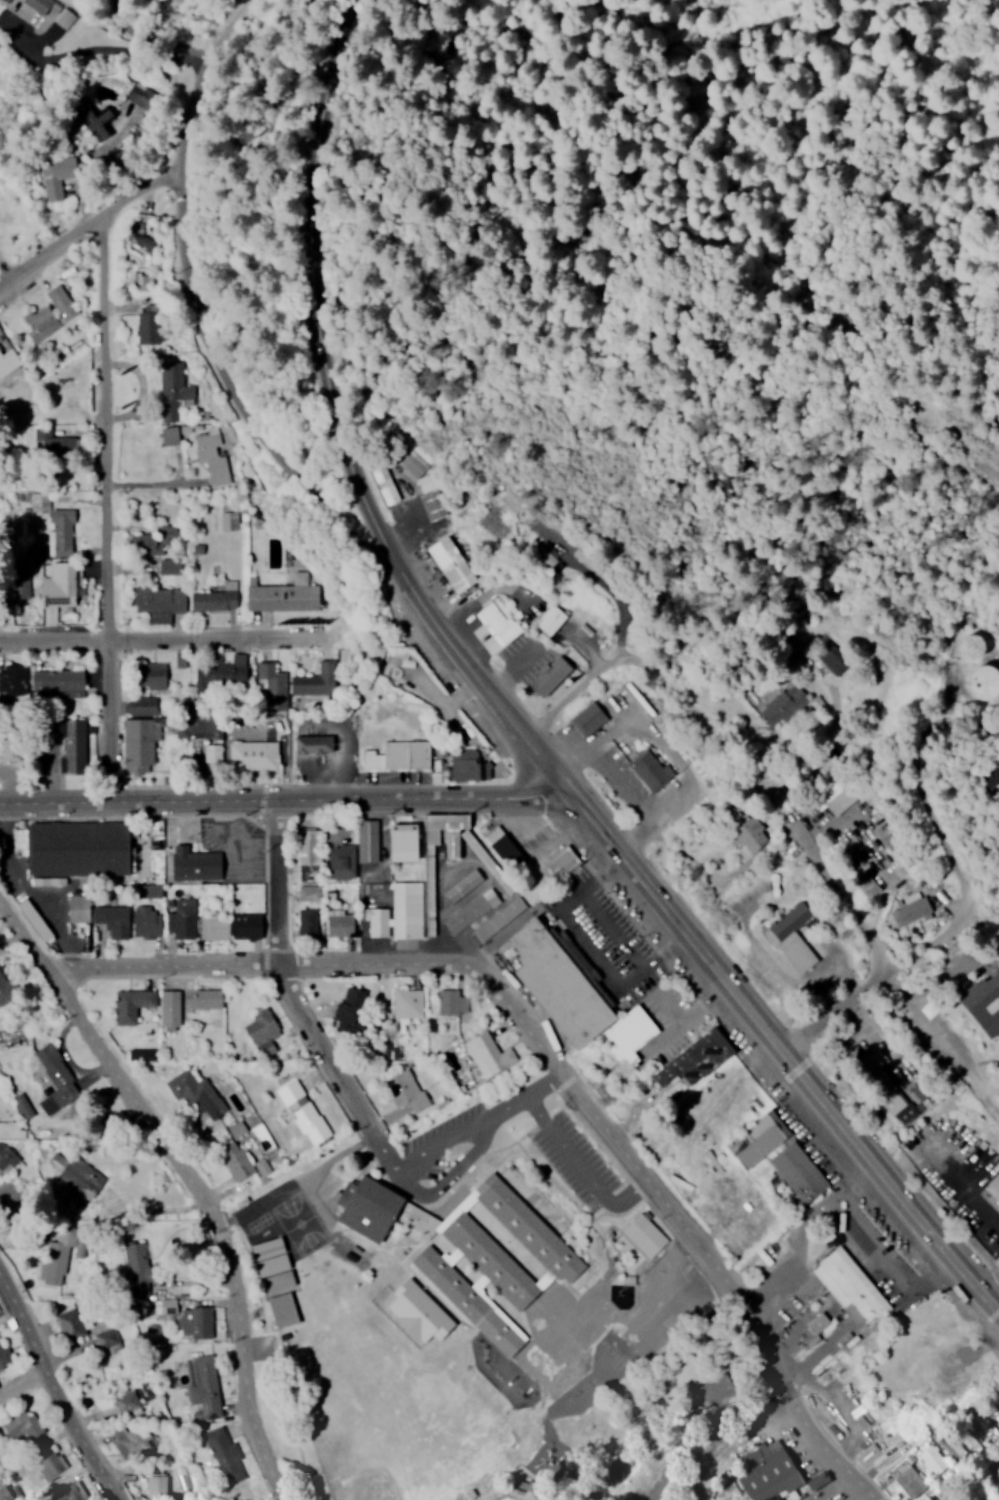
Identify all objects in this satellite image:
road: (126, 13)
road: (157, 110)
building: (119, 125)
road: (309, 183)
road: (94, 225)
building: (61, 301)
building: (41, 323)
building: (146, 328)
road: (213, 354)
building: (8, 361)
building: (0, 381)
building: (172, 390)
building: (171, 435)
building: (53, 442)
building: (212, 455)
building: (385, 482)
building: (40, 504)
building: (432, 505)
road: (107, 512)
building: (229, 520)
building: (63, 531)
building: (146, 544)
building: (452, 563)
building: (170, 567)
building: (61, 585)
building: (282, 595)
building: (216, 598)
road: (701, 599)
building: (161, 602)
building: (552, 619)
building: (500, 621)
road: (178, 644)
building: (972, 646)
building: (224, 670)
building: (155, 675)
building: (553, 675)
building: (14, 680)
building: (983, 681)
building: (62, 682)
building: (314, 682)
building: (272, 684)
building: (140, 706)
building: (781, 706)
building: (589, 718)
building: (204, 726)
road: (625, 726)
building: (147, 741)
building: (316, 744)
building: (74, 746)
building: (214, 753)
building: (254, 755)
building: (397, 756)
building: (470, 765)
building: (651, 770)
building: (991, 779)
building: (836, 800)
road: (278, 806)
road: (778, 810)
building: (751, 836)
building: (368, 841)
building: (408, 842)
building: (308, 846)
building: (517, 846)
building: (454, 851)
building: (78, 853)
building: (483, 855)
building: (342, 861)
building: (561, 862)
building: (189, 868)
road: (621, 870)
building: (309, 872)
building: (867, 884)
building: (310, 892)
road: (883, 908)
building: (406, 909)
building: (471, 911)
building: (76, 912)
building: (913, 912)
building: (500, 918)
building: (37, 919)
building: (377, 921)
building: (111, 923)
building: (308, 923)
building: (341, 923)
parking lot: (608, 926)
building: (145, 928)
building: (179, 929)
building: (211, 931)
building: (245, 931)
building: (792, 937)
road: (939, 939)
building: (3, 977)
building: (550, 984)
building: (209, 999)
building: (454, 1002)
building: (409, 1003)
building: (133, 1004)
building: (982, 1006)
building: (352, 1009)
building: (171, 1010)
road: (296, 1015)
road: (829, 1025)
building: (264, 1032)
building: (144, 1054)
building: (490, 1054)
road: (545, 1056)
building: (698, 1059)
building: (873, 1059)
building: (58, 1080)
building: (187, 1086)
building: (406, 1090)
building: (24, 1105)
building: (911, 1105)
road: (922, 1110)
building: (305, 1112)
building: (238, 1128)
building: (11, 1130)
building: (759, 1141)
building: (7, 1157)
building: (238, 1161)
building: (78, 1172)
building: (802, 1172)
road: (191, 1185)
building: (994, 1187)
building: (372, 1208)
building: (645, 1235)
building: (497, 1262)
building: (56, 1264)
building: (275, 1265)
building: (138, 1270)
building: (855, 1288)
building: (165, 1306)
building: (285, 1310)
building: (422, 1313)
road: (534, 1316)
building: (197, 1322)
building: (72, 1324)
building: (822, 1324)
building: (108, 1339)
park: (393, 1366)
building: (206, 1386)
road: (23, 1391)
road: (53, 1391)
building: (129, 1402)
building: (19, 1424)
building: (38, 1431)
building: (1, 1435)
building: (130, 1441)
road: (730, 1442)
building: (930, 1459)
building: (50, 1461)
building: (769, 1473)
building: (906, 1478)
building: (156, 1483)
building: (8, 1491)
building: (72, 1492)

